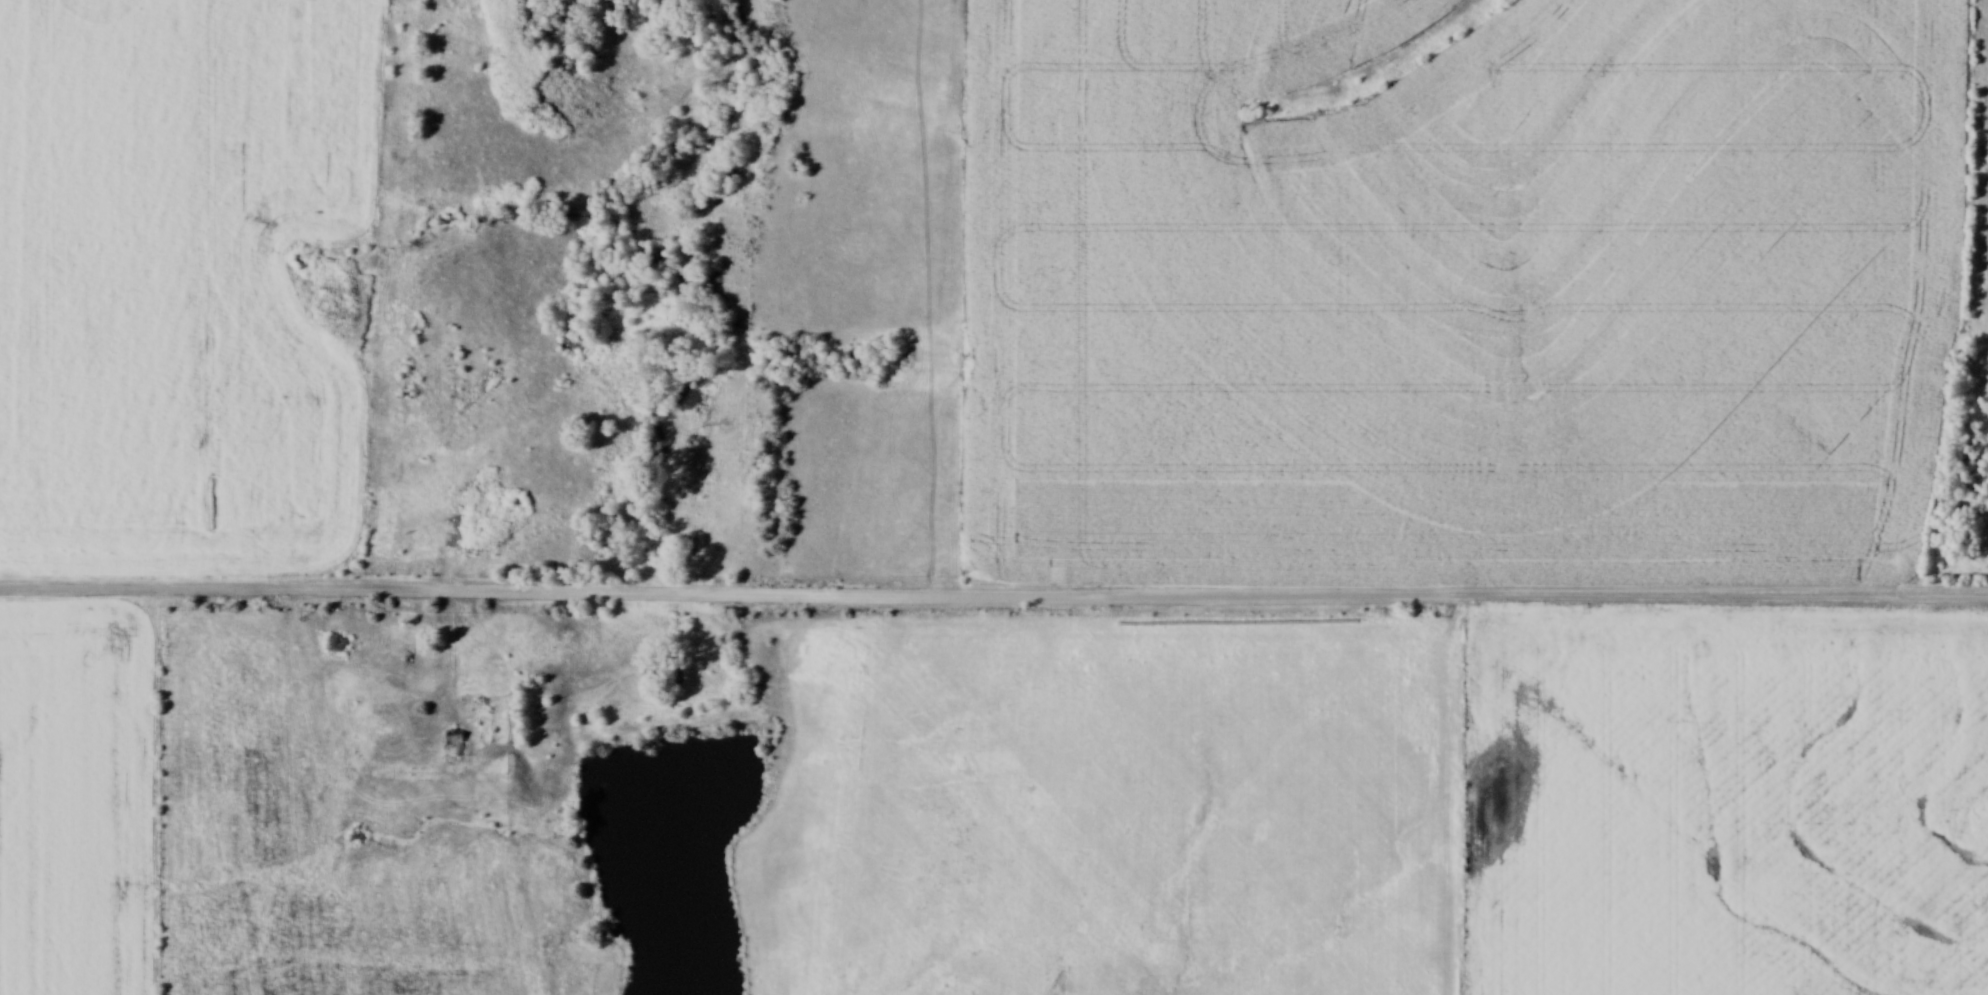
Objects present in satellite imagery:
road: (993, 593)
building: (448, 747)

